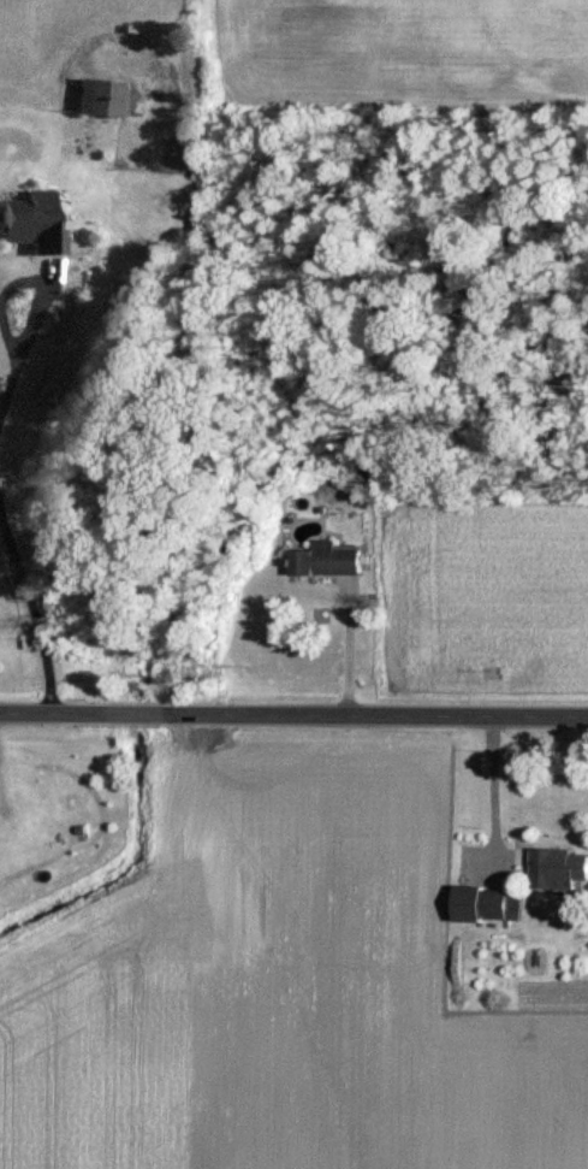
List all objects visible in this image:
building: (102, 100)
building: (31, 224)
road: (18, 324)
building: (329, 561)
road: (25, 628)
road: (338, 651)
road: (293, 718)
road: (486, 797)
building: (560, 870)
building: (491, 907)

